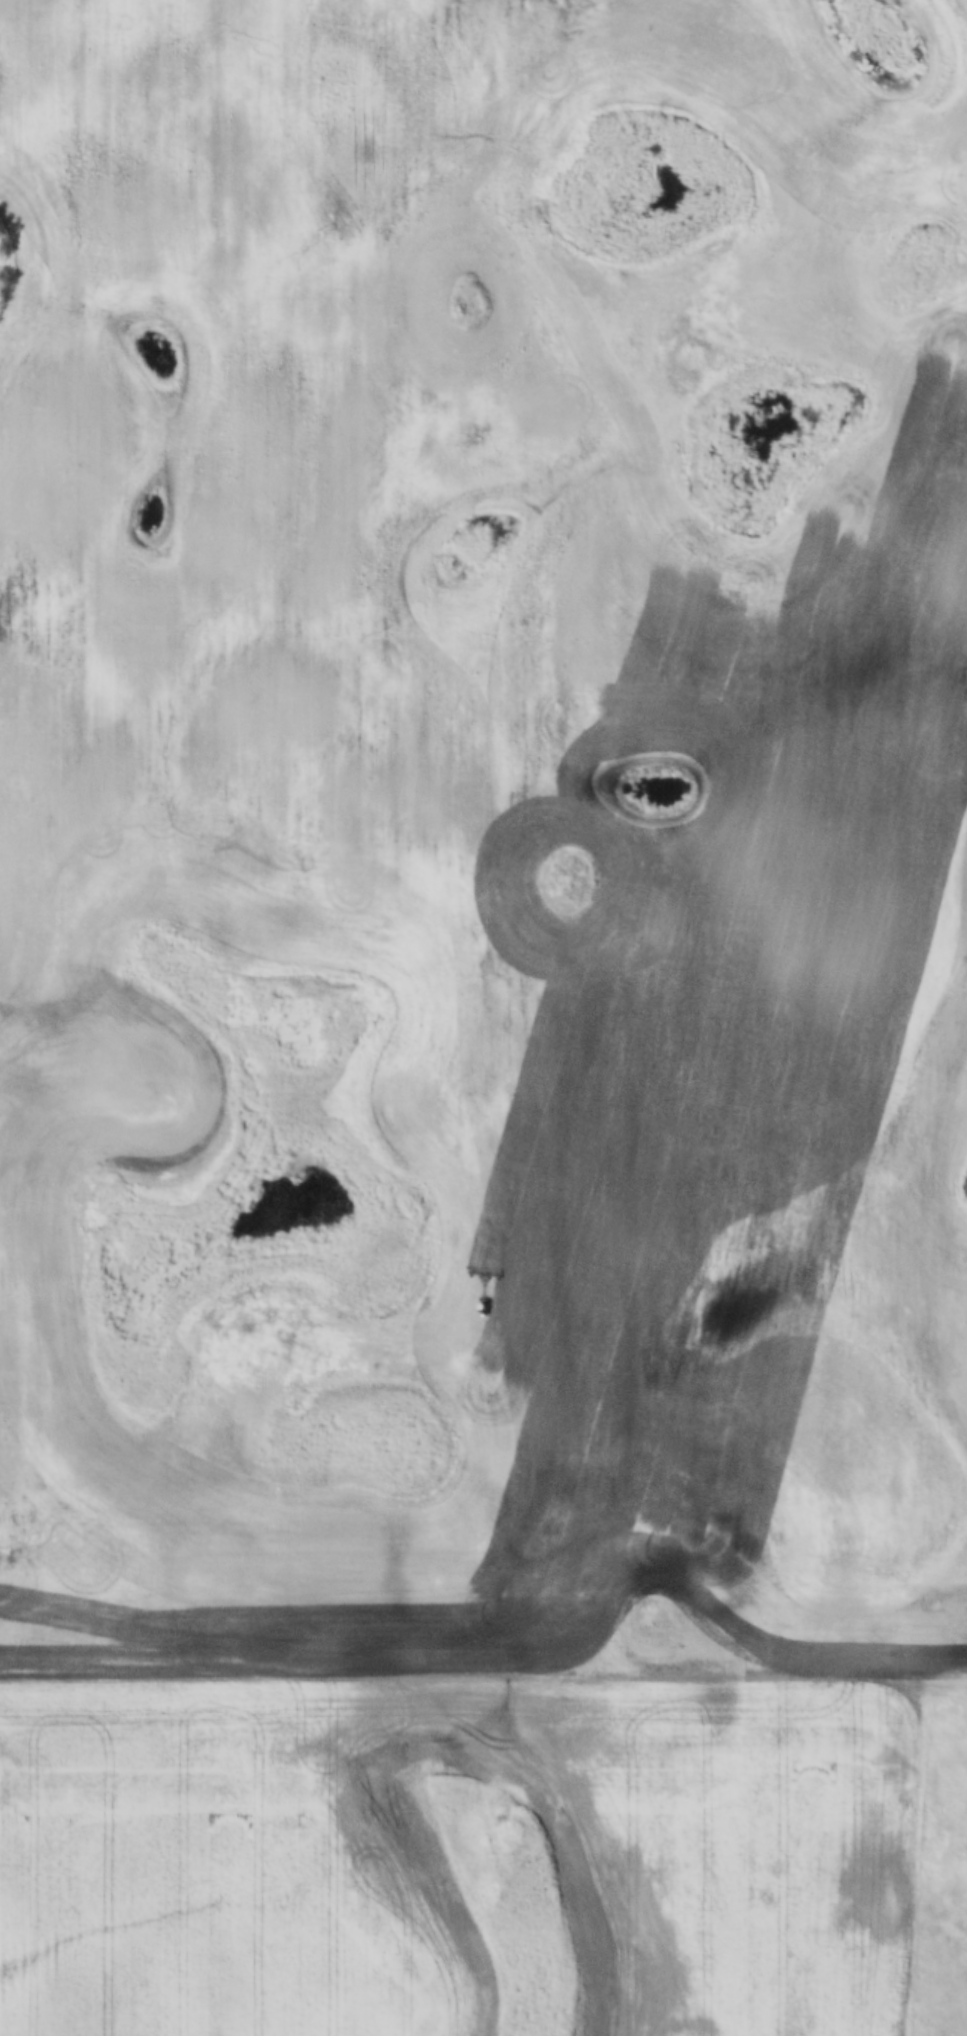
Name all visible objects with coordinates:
road: (483, 1671)

